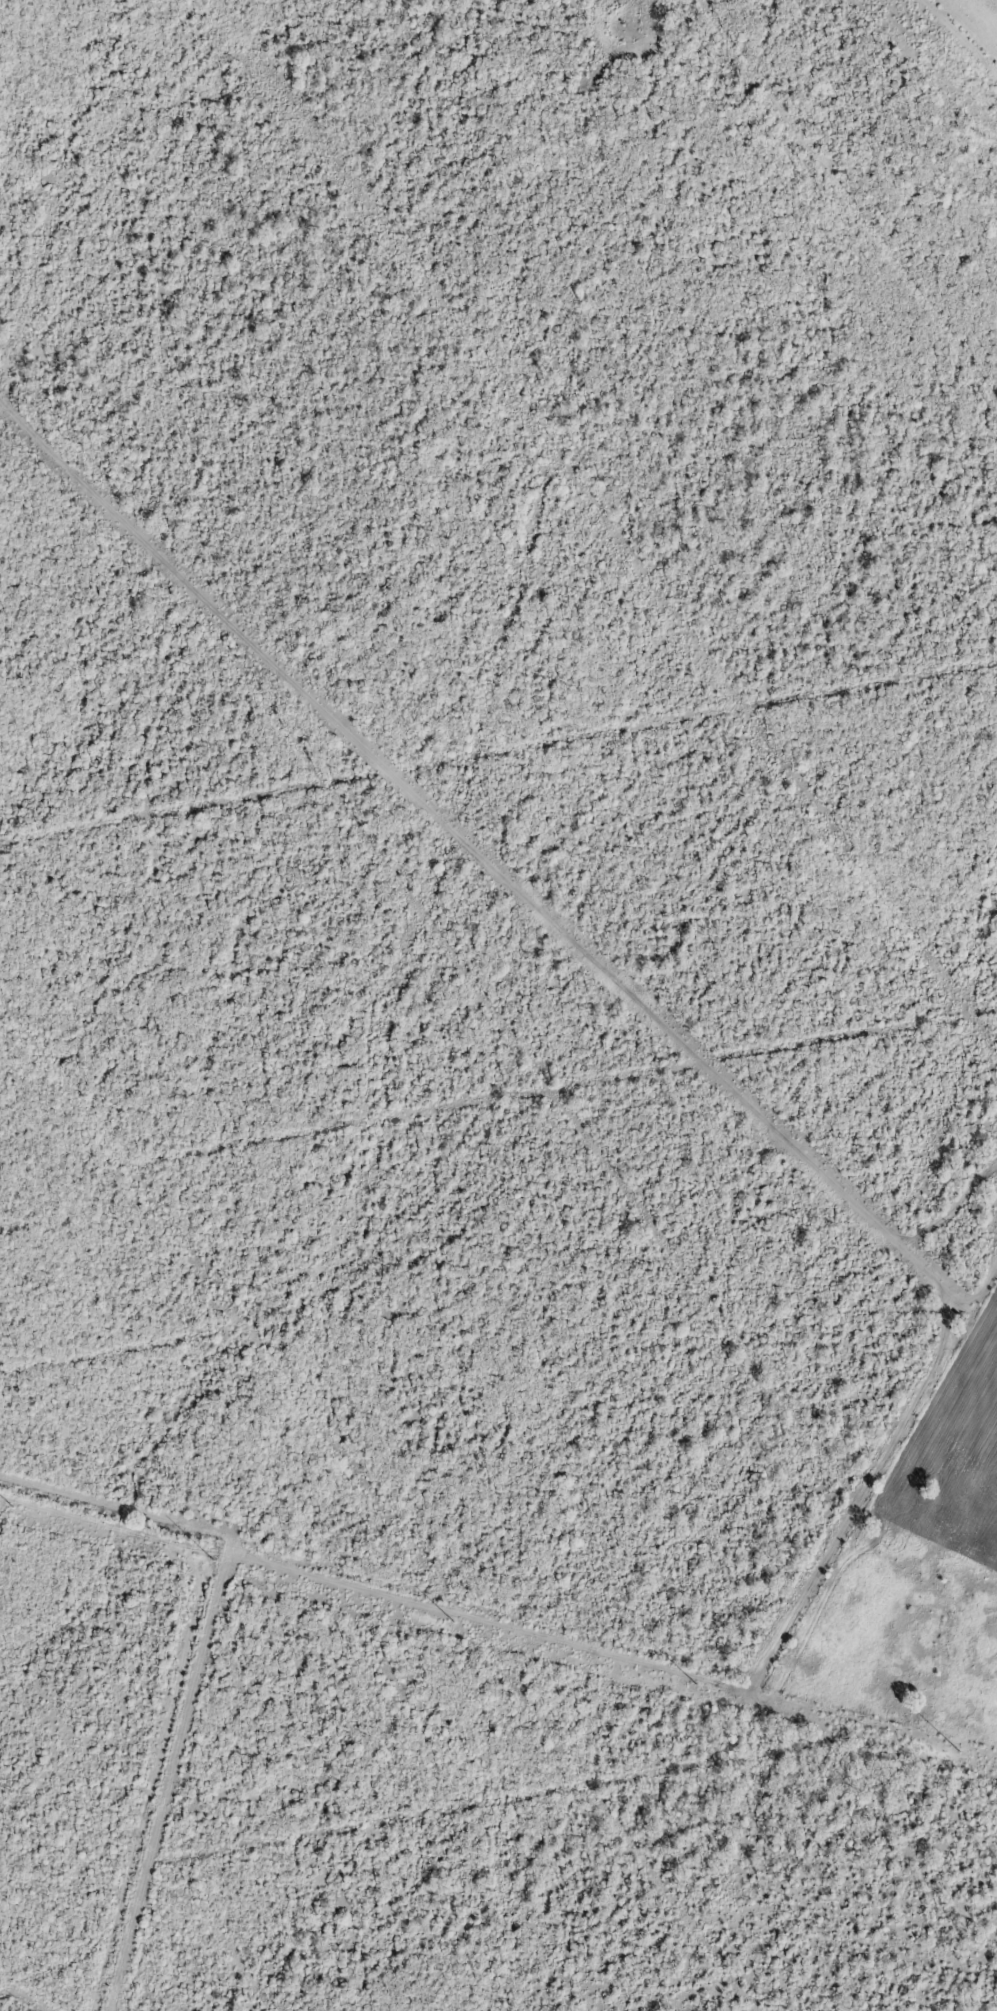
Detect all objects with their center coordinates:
power tower: (9, 1505)
power tower: (214, 1562)
power tower: (452, 1621)
power tower: (694, 1684)
power tower: (960, 1752)

